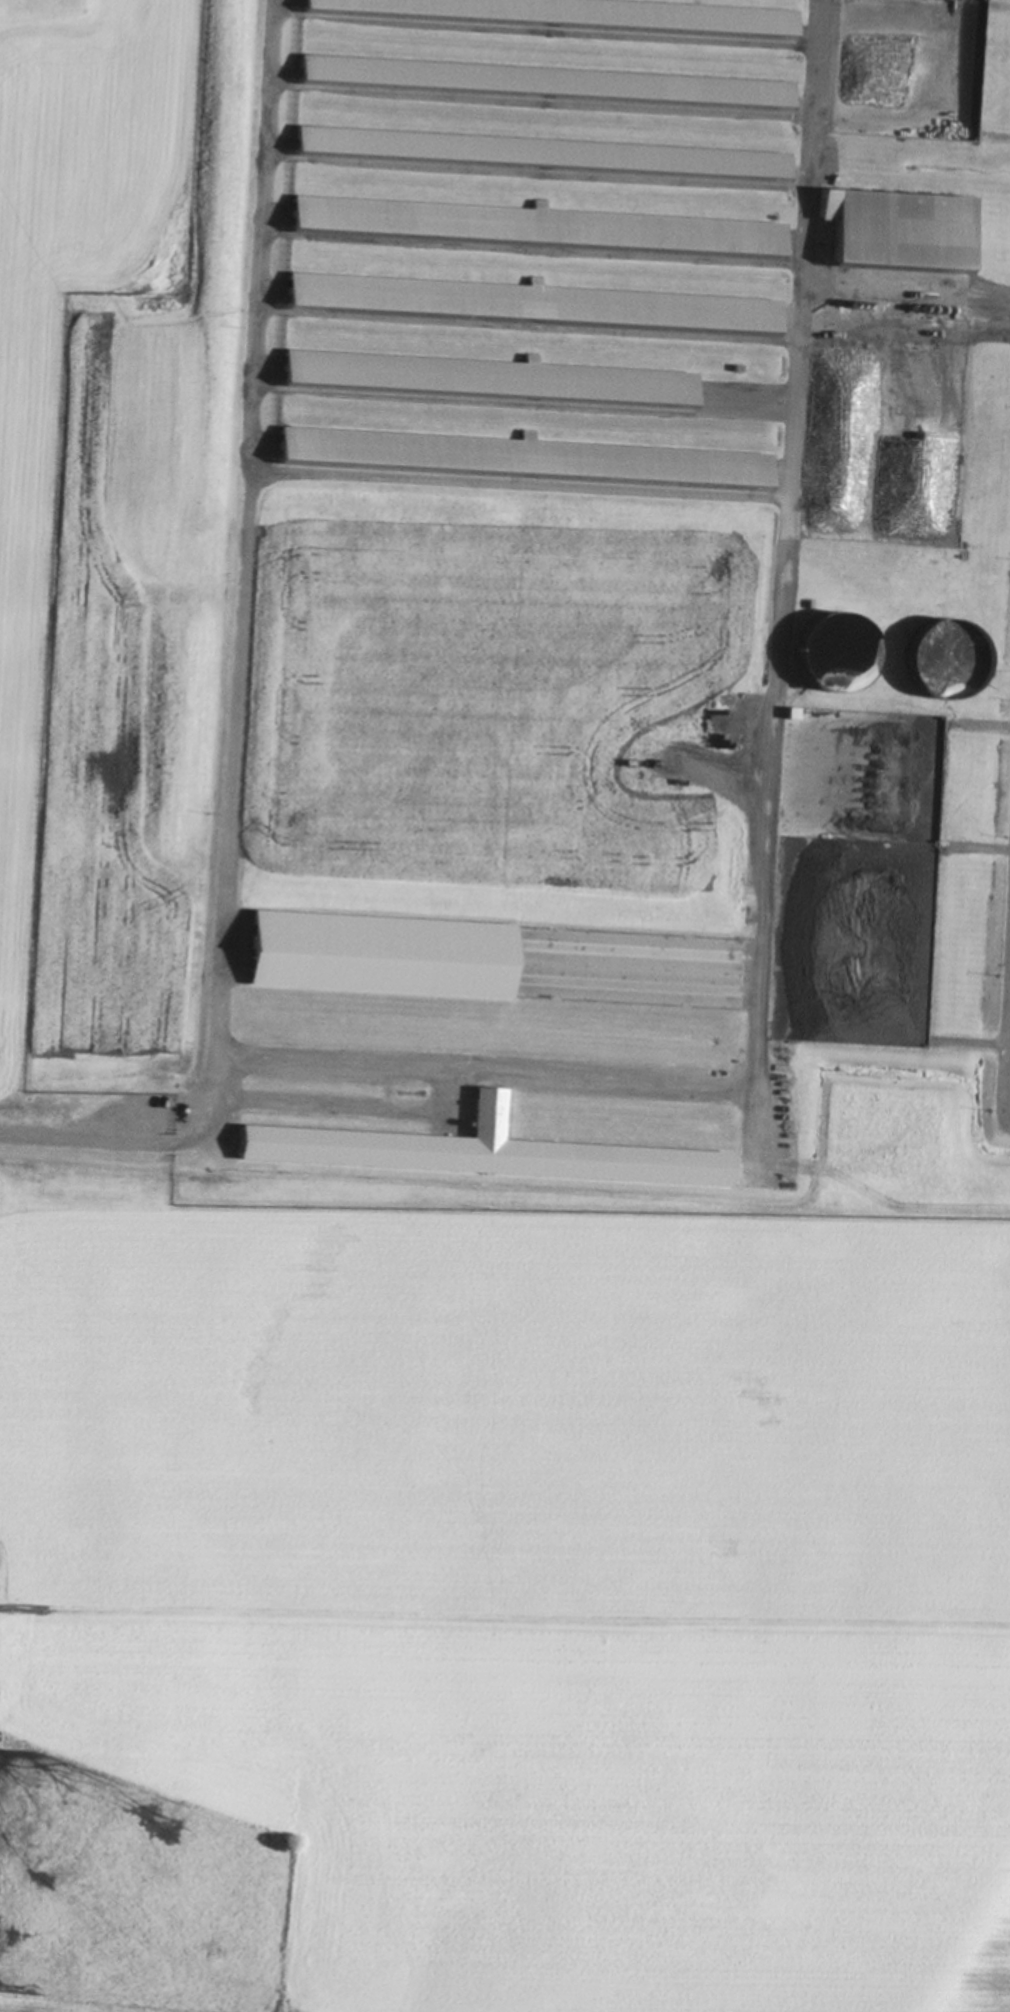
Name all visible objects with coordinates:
building: (576, 14)
building: (738, 90)
building: (725, 161)
building: (530, 226)
building: (899, 230)
road: (904, 288)
building: (527, 304)
building: (486, 376)
road: (791, 397)
building: (521, 458)
road: (282, 474)
building: (835, 650)
road: (234, 766)
building: (380, 950)
road: (498, 1069)
building: (479, 1152)

